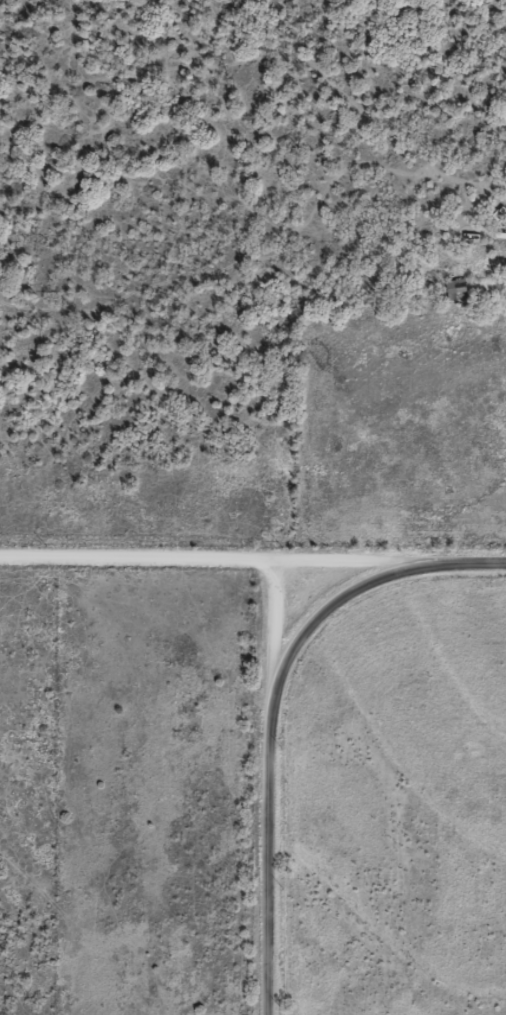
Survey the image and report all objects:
building: (457, 289)
road: (136, 574)
road: (389, 577)
road: (317, 722)
road: (286, 876)

